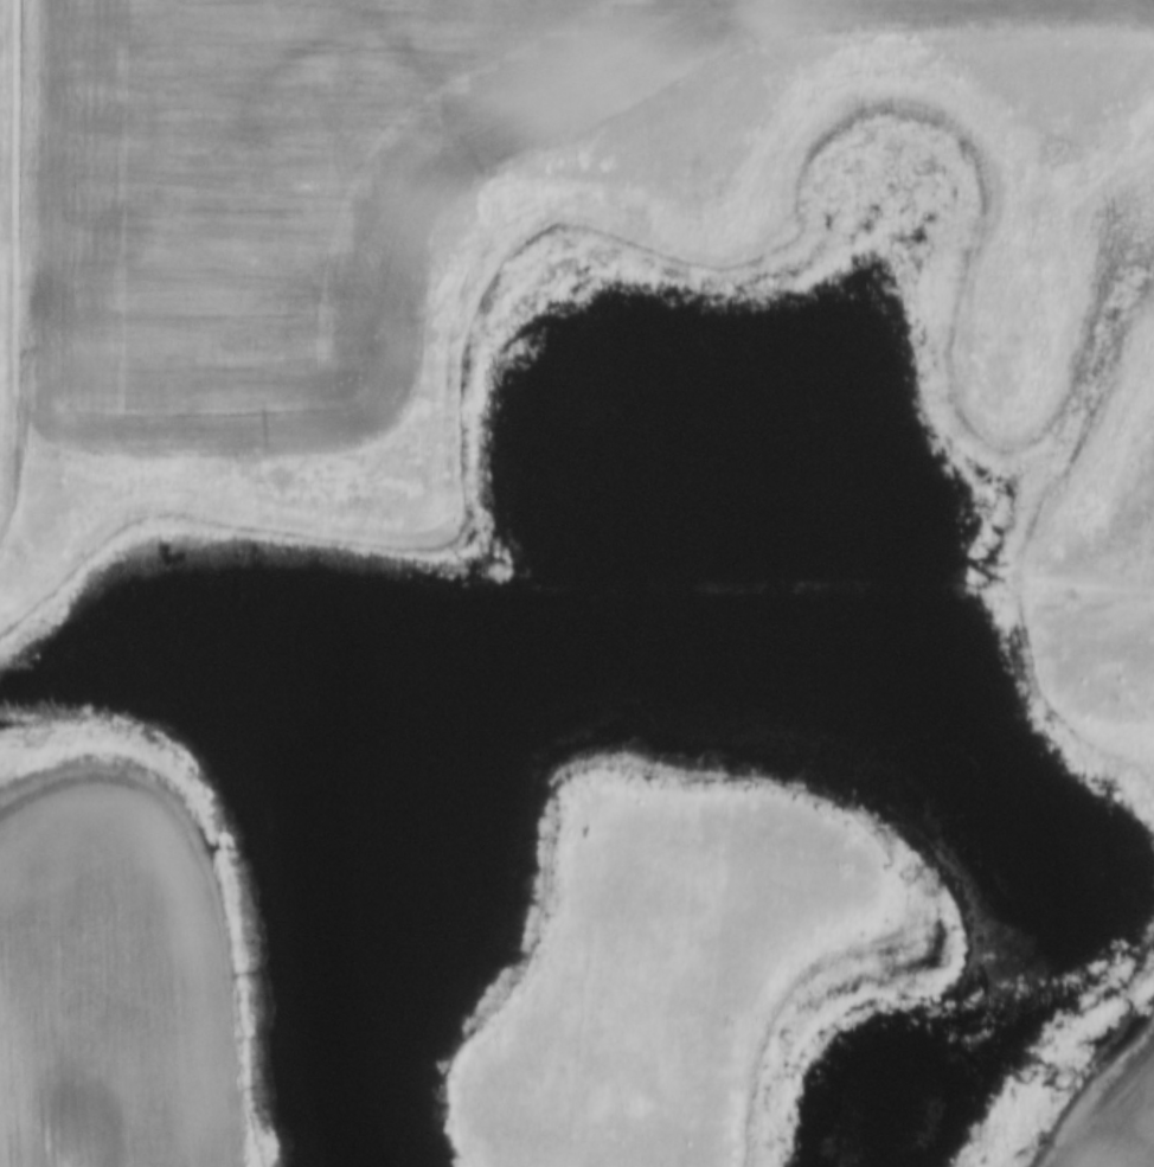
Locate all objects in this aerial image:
road: (1142, 594)
road: (1121, 752)

